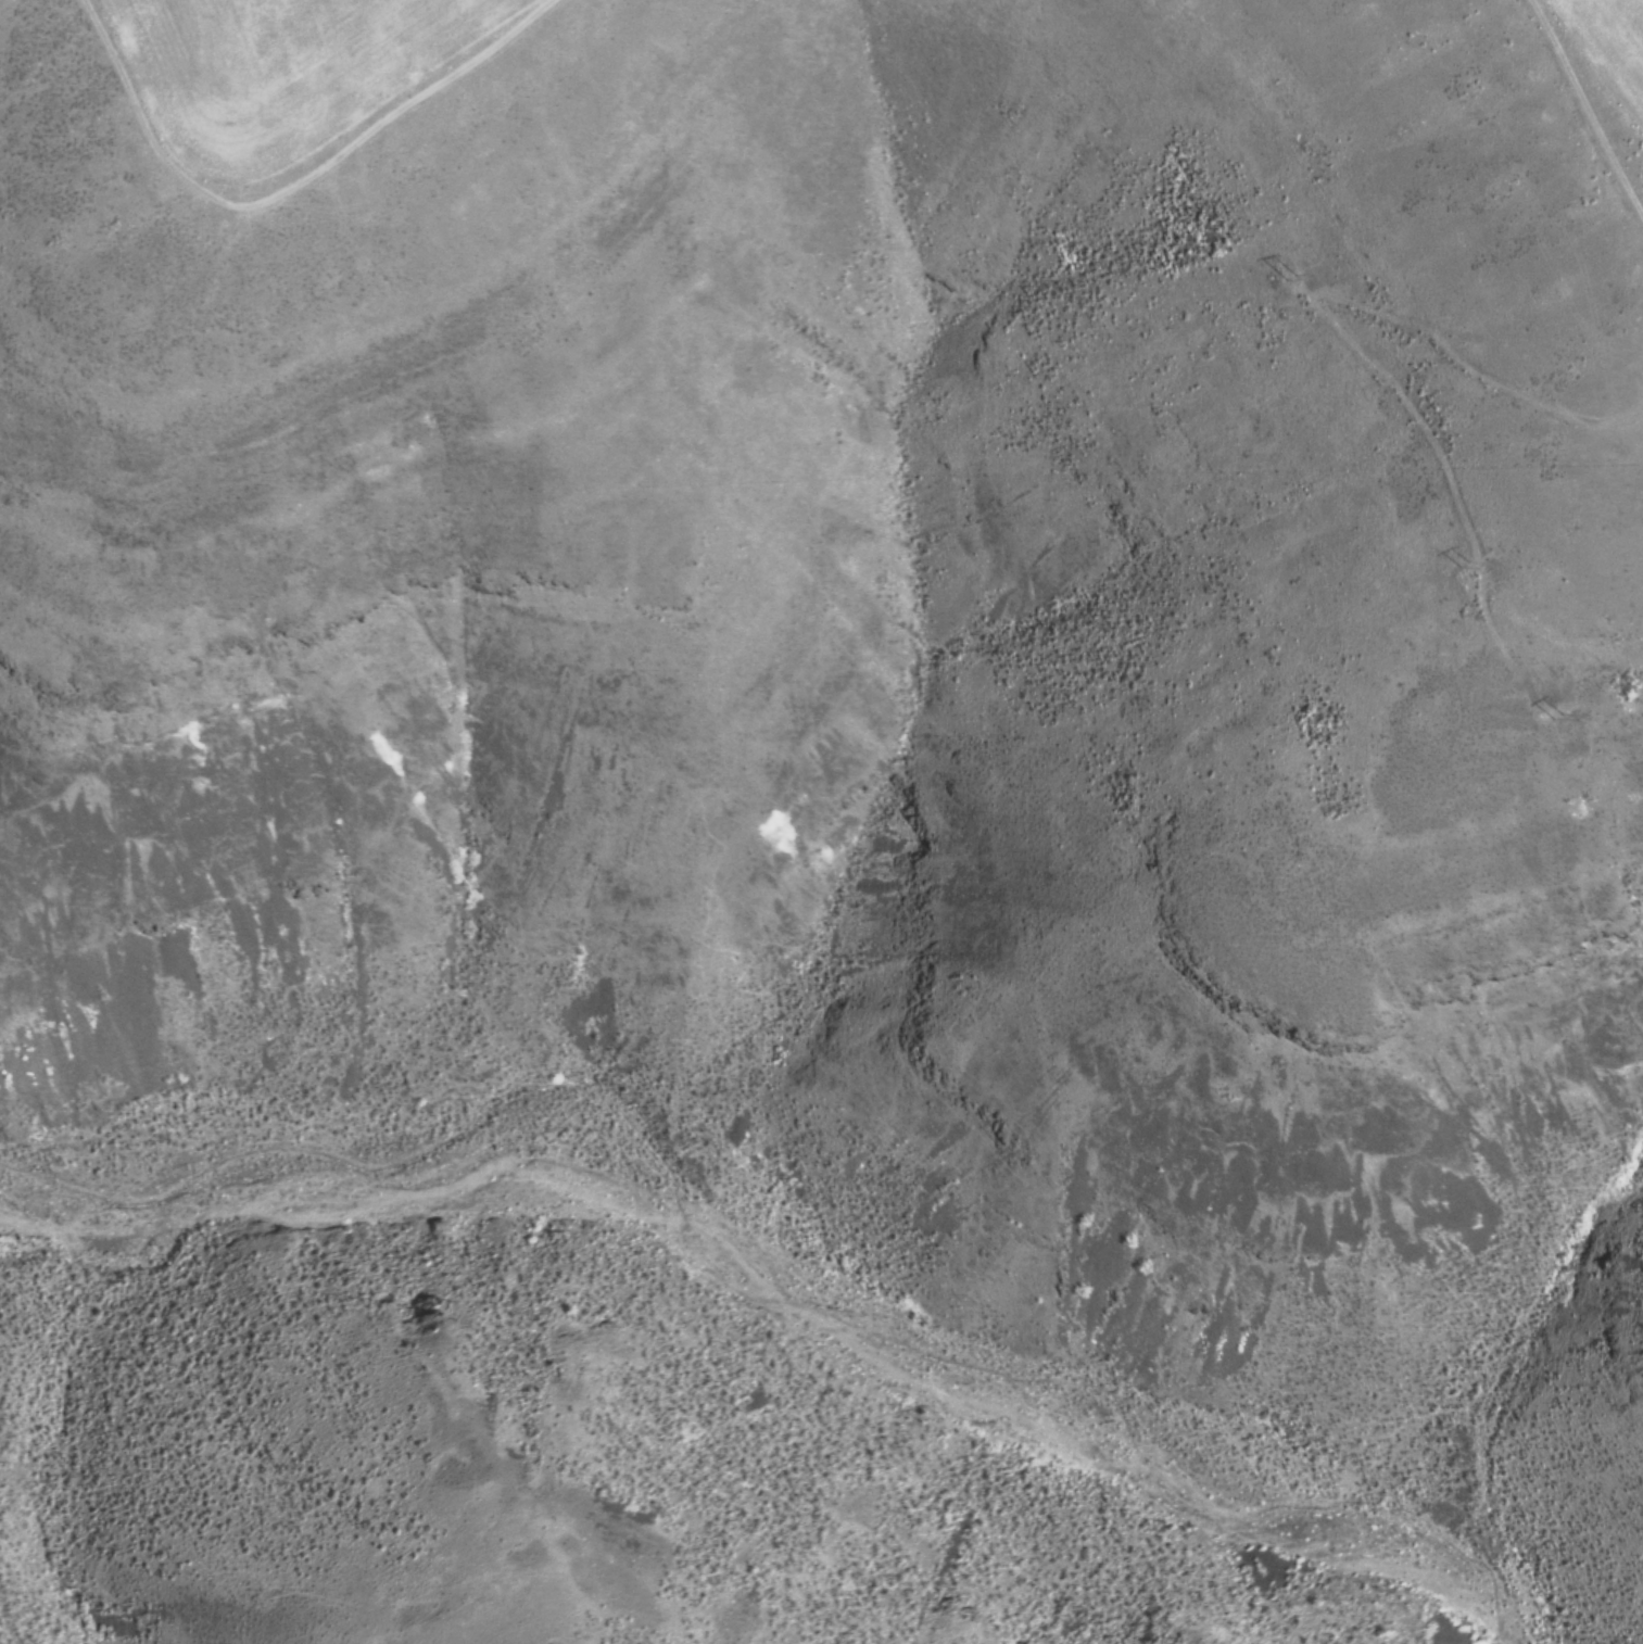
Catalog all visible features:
power tower: (1292, 276)
power tower: (1467, 561)
power tower: (1562, 714)

